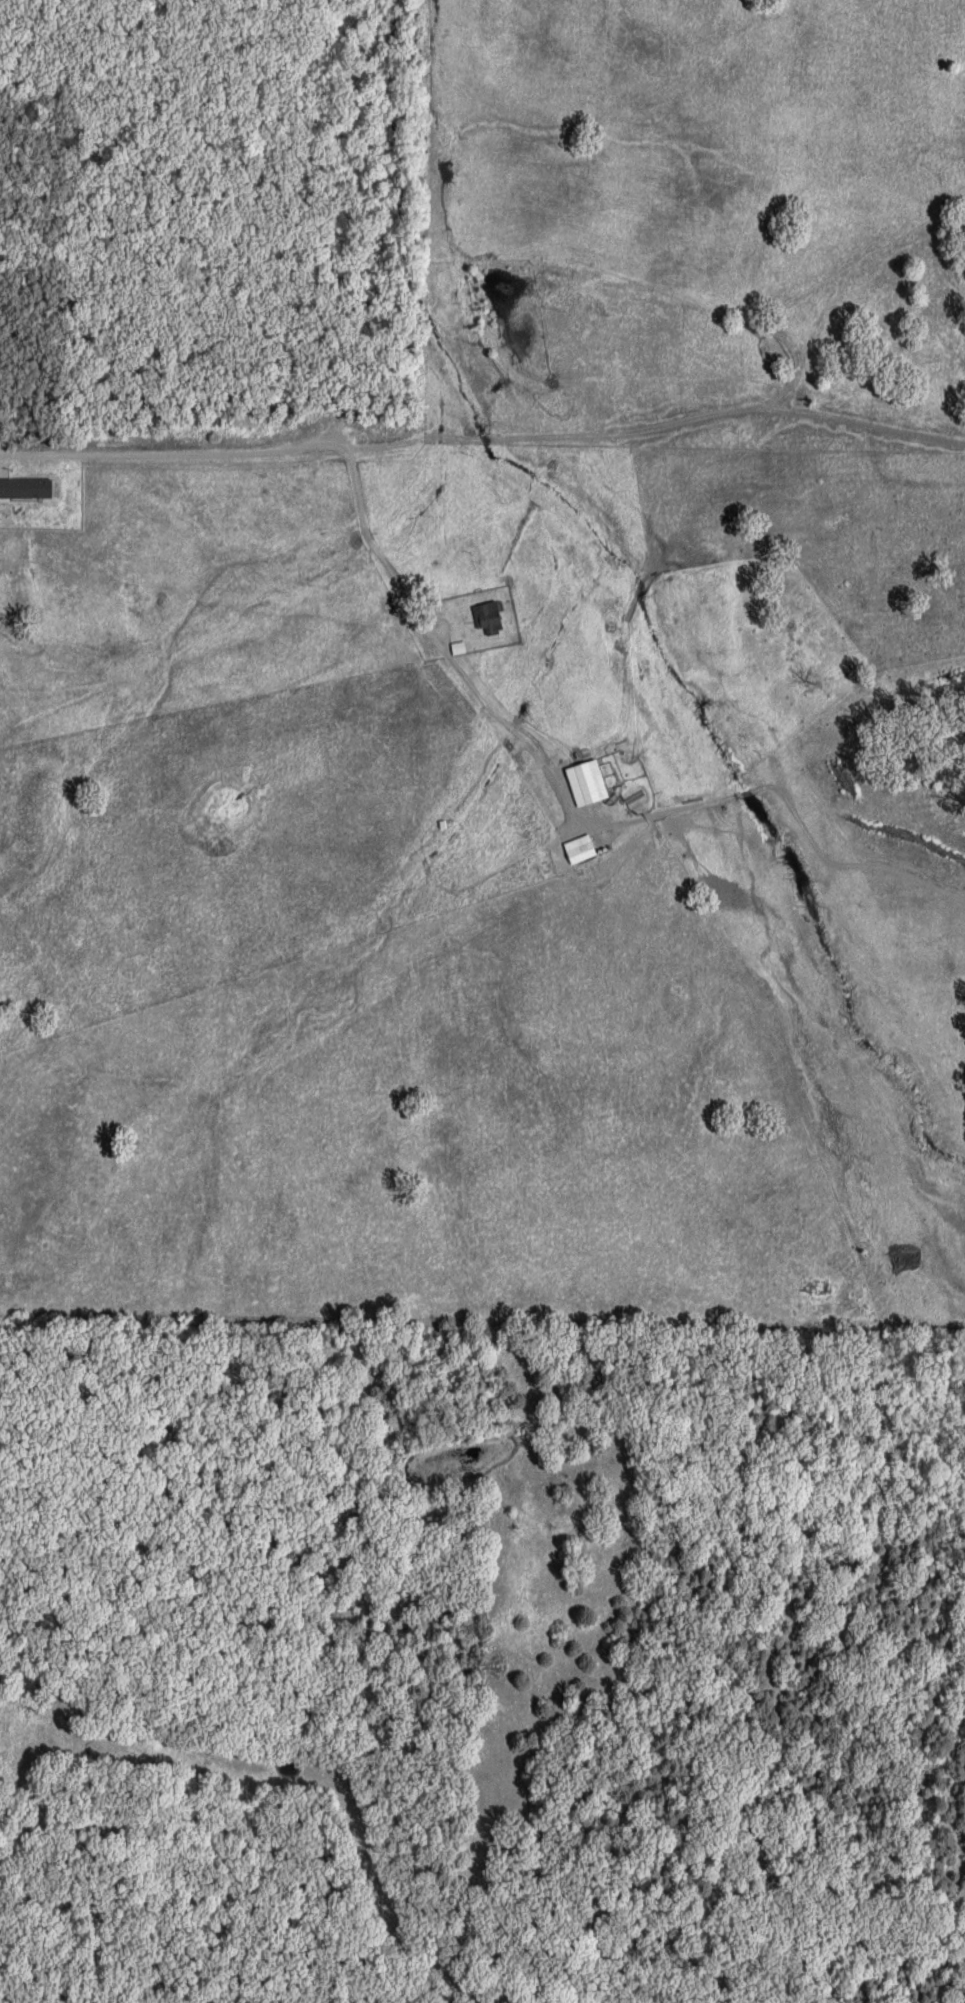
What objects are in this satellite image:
building: (28, 487)
road: (354, 497)
building: (490, 617)
building: (460, 647)
building: (589, 782)
building: (581, 849)

